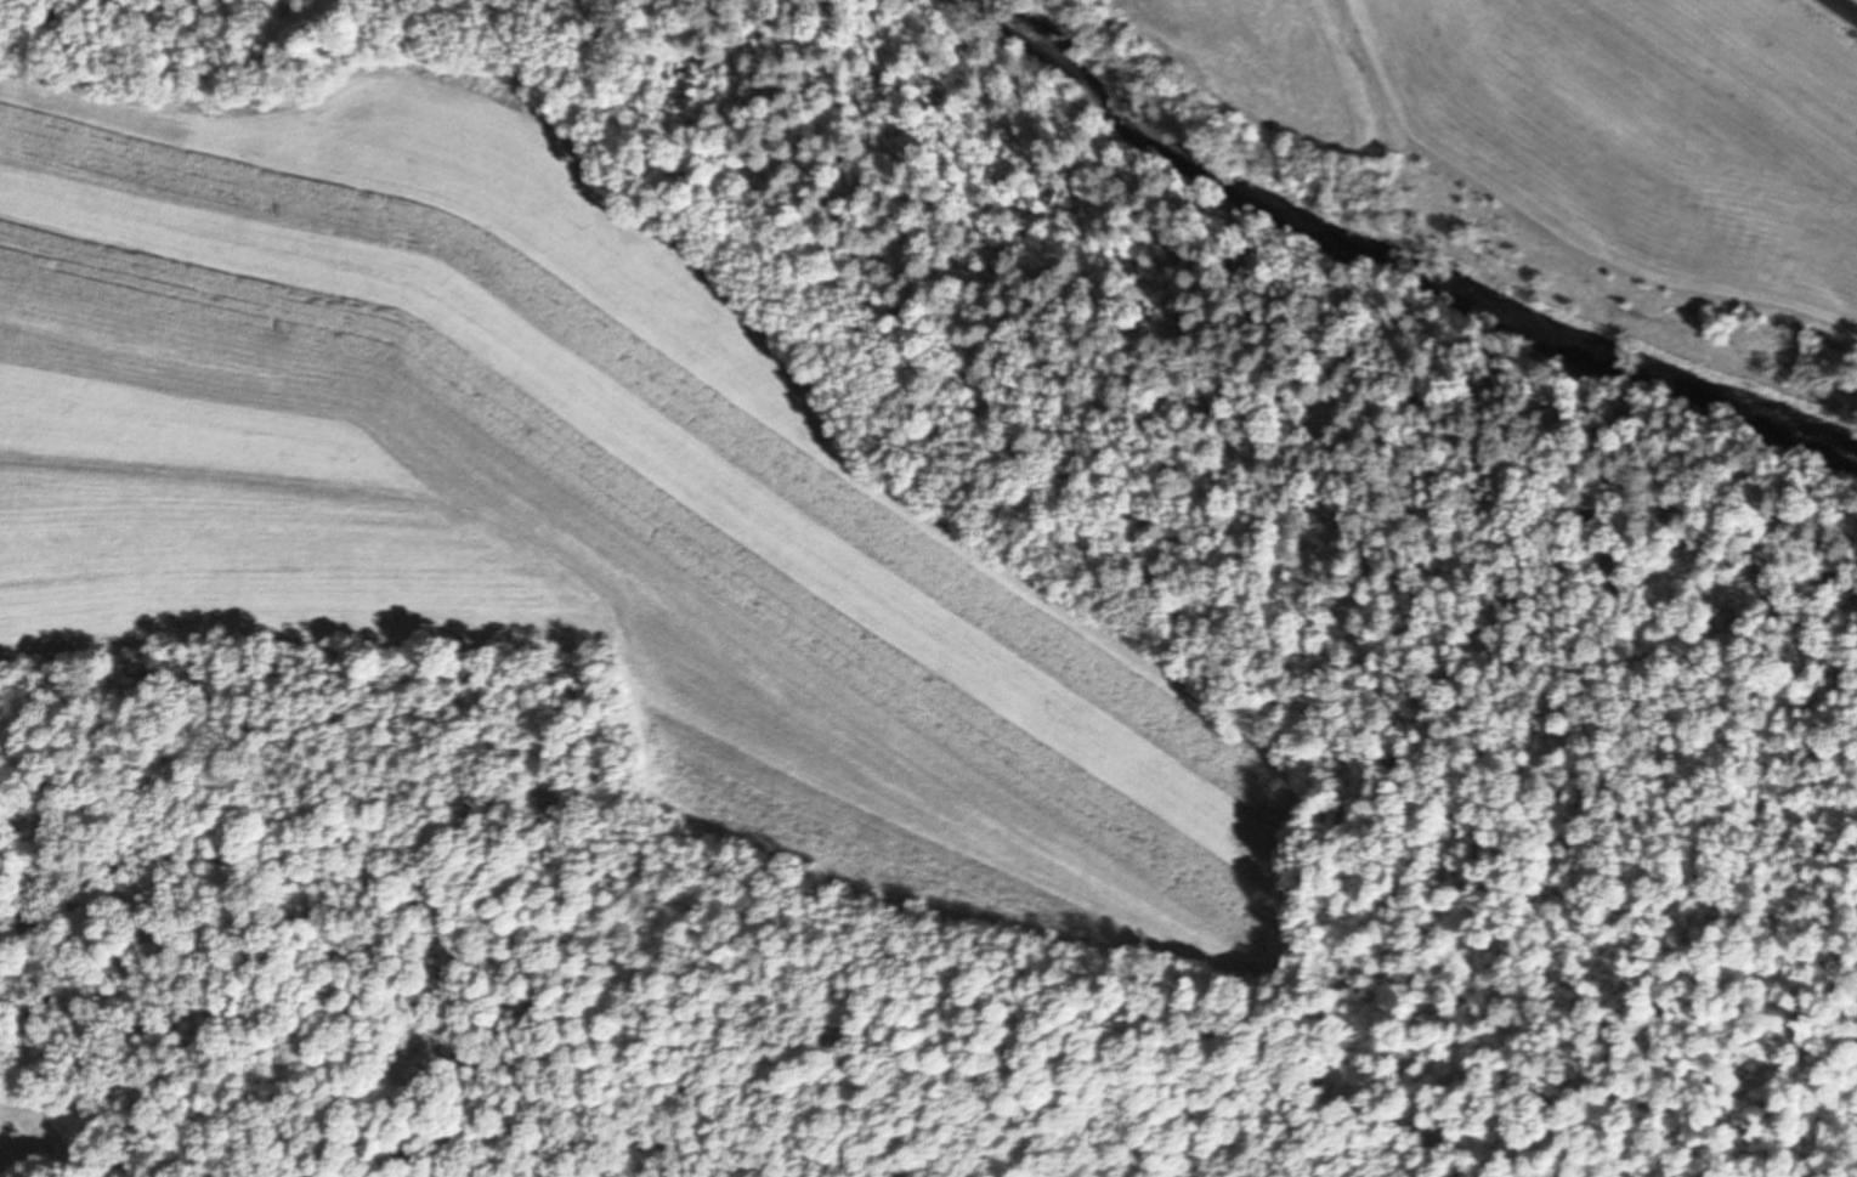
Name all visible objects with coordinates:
road: (1844, 9)
river: (1410, 256)

